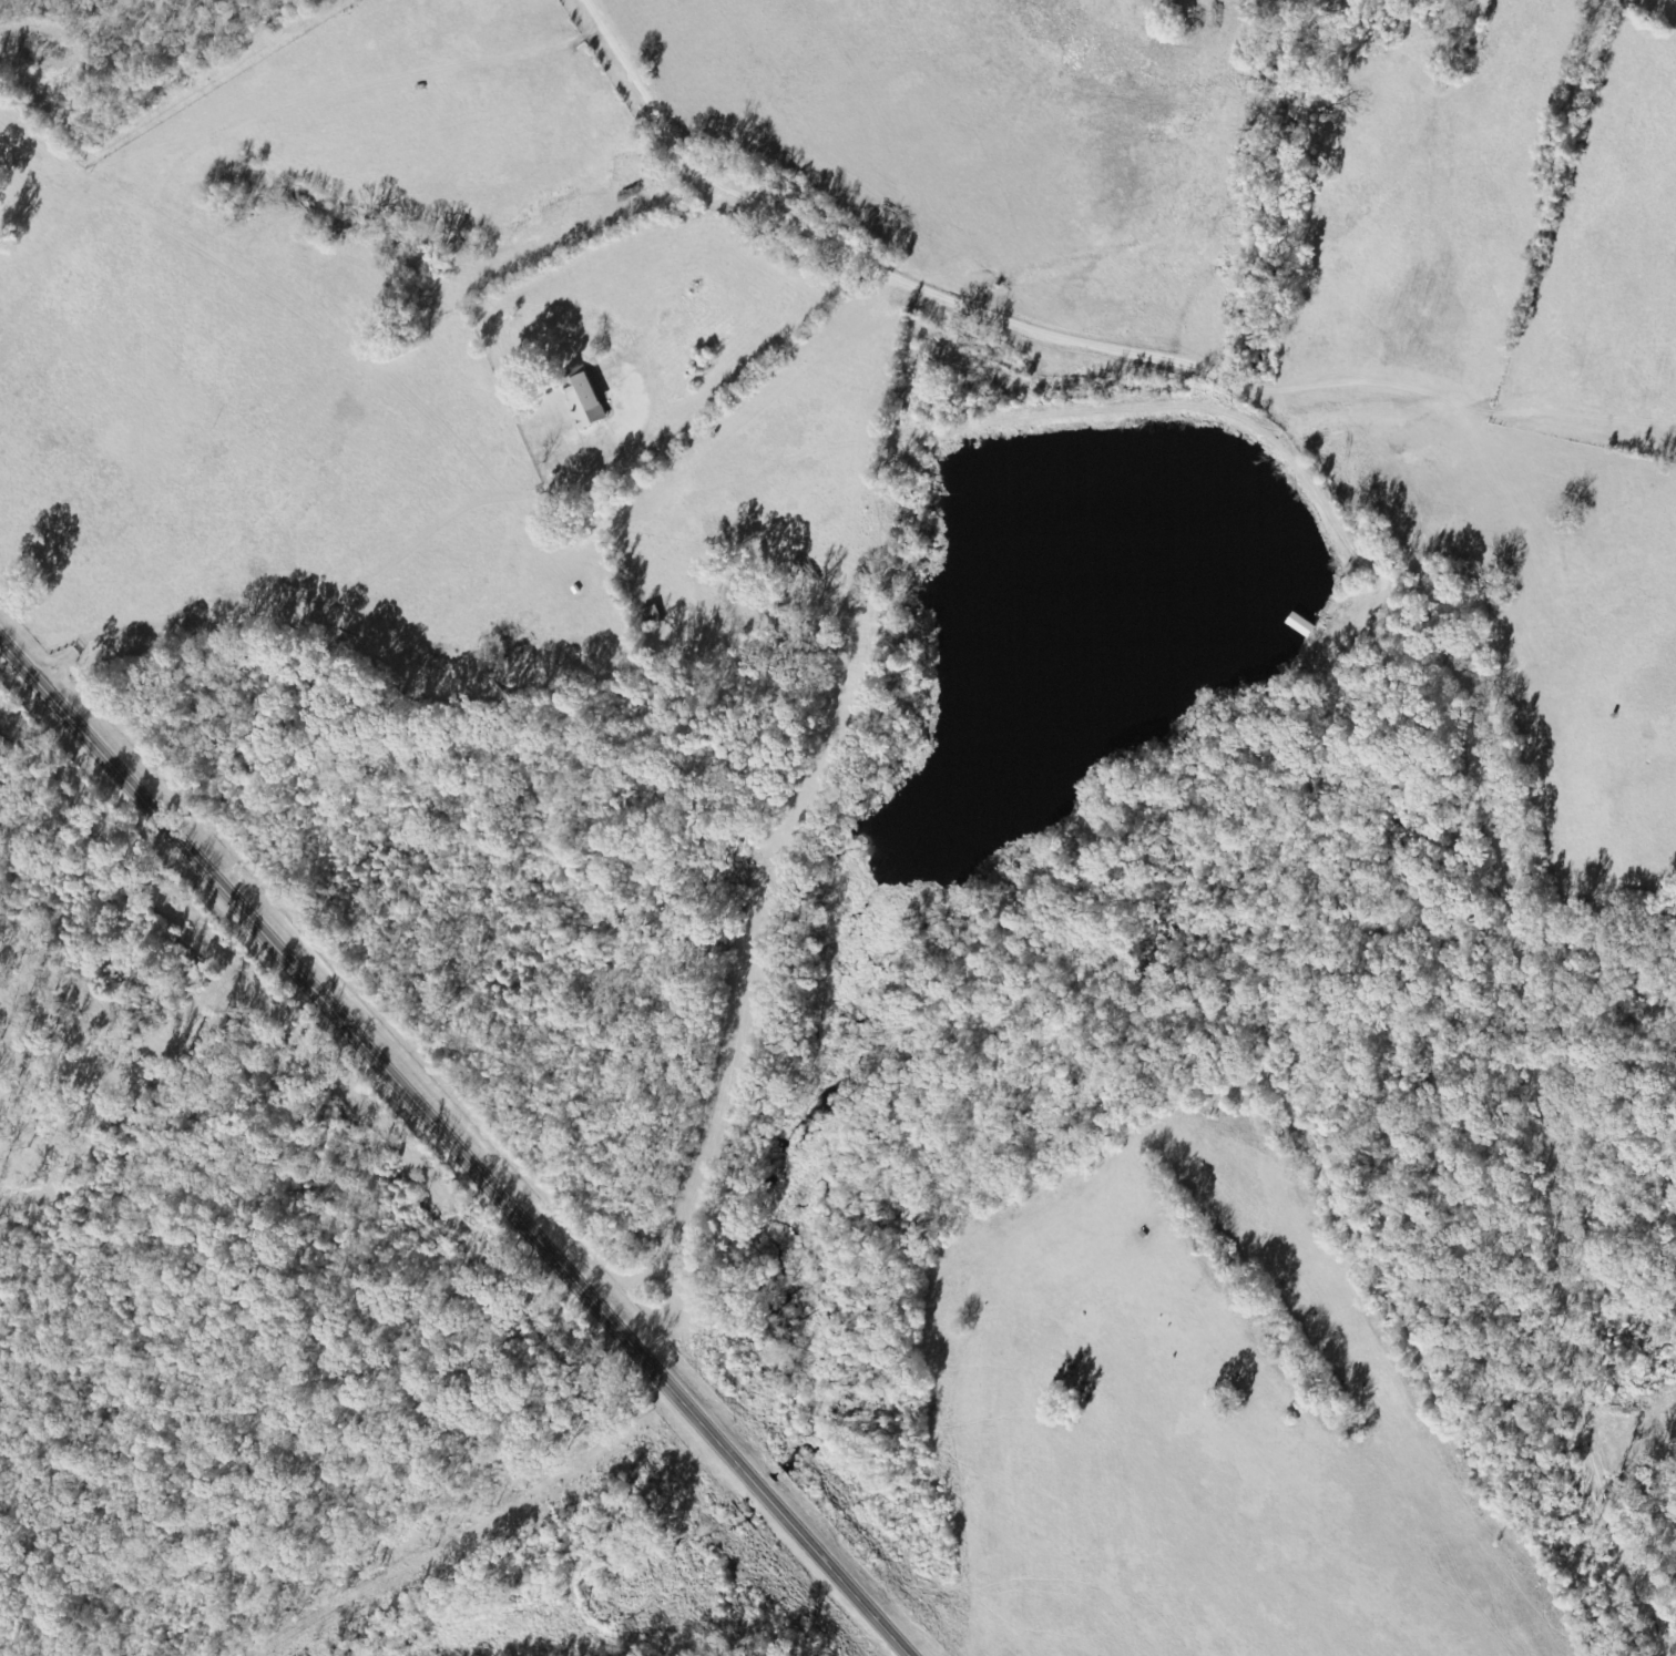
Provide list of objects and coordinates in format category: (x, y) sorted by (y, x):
building: (580, 399)
road: (399, 476)
road: (456, 1147)

